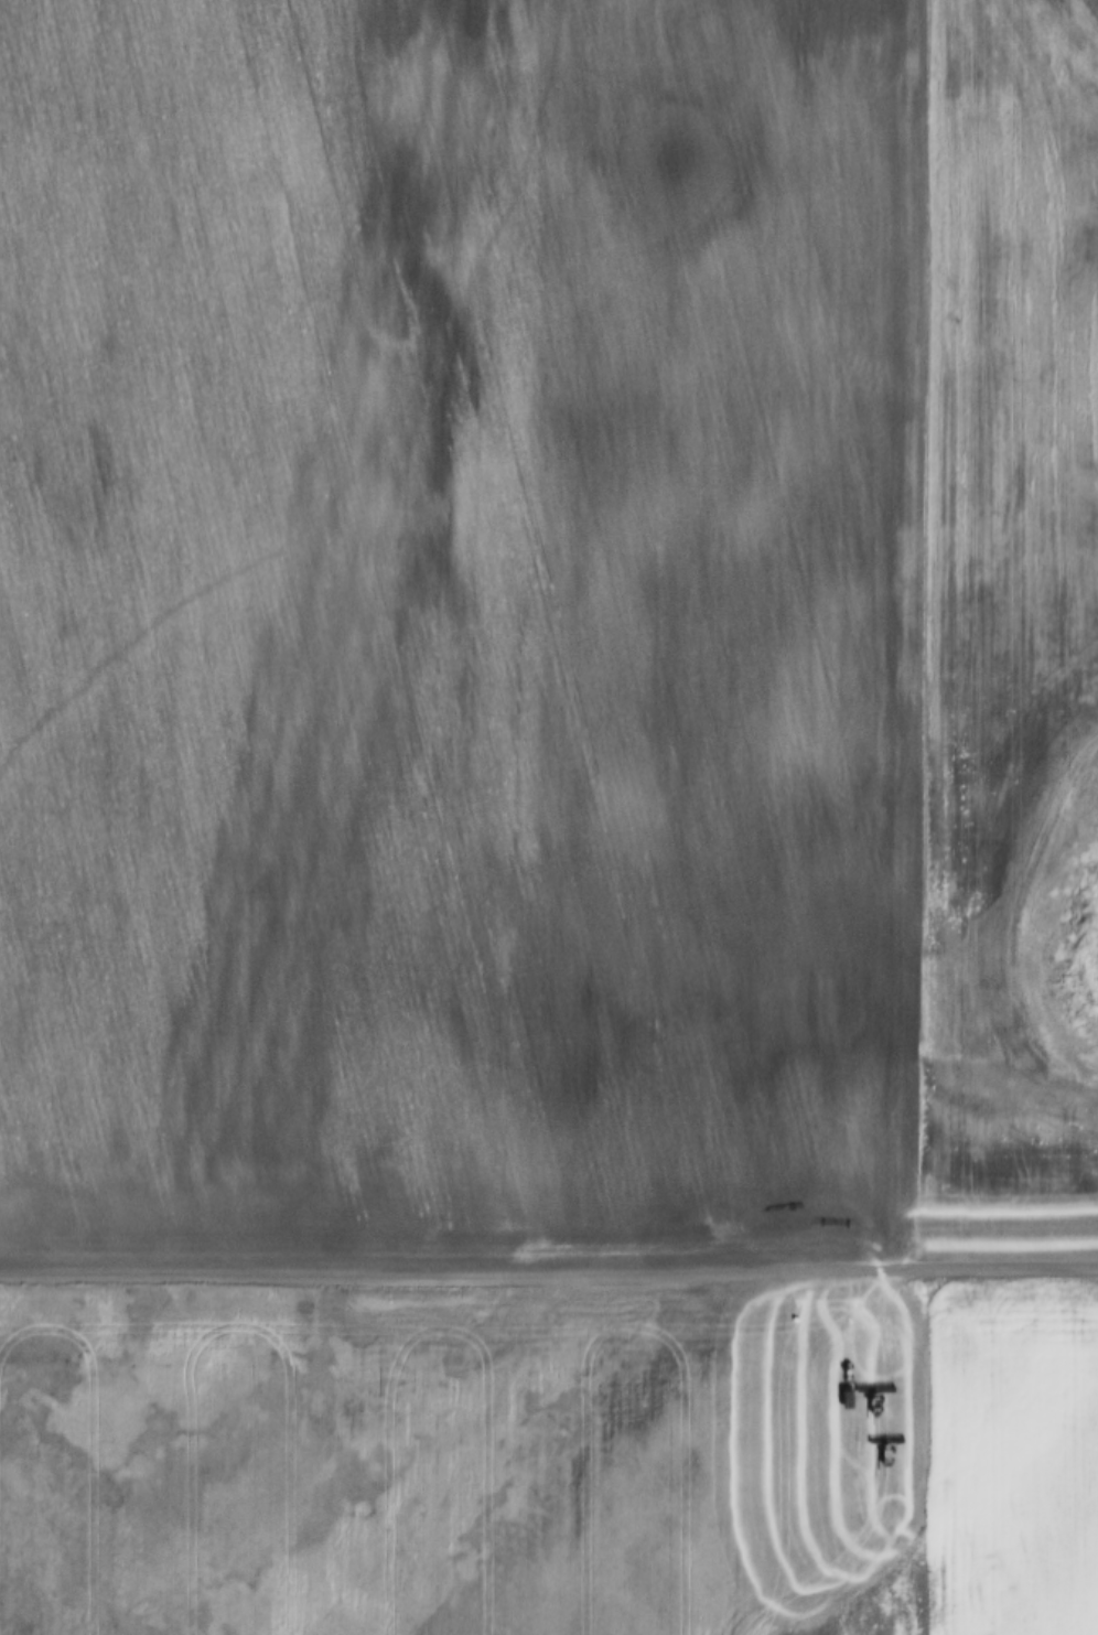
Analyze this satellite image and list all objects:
road: (549, 1272)

